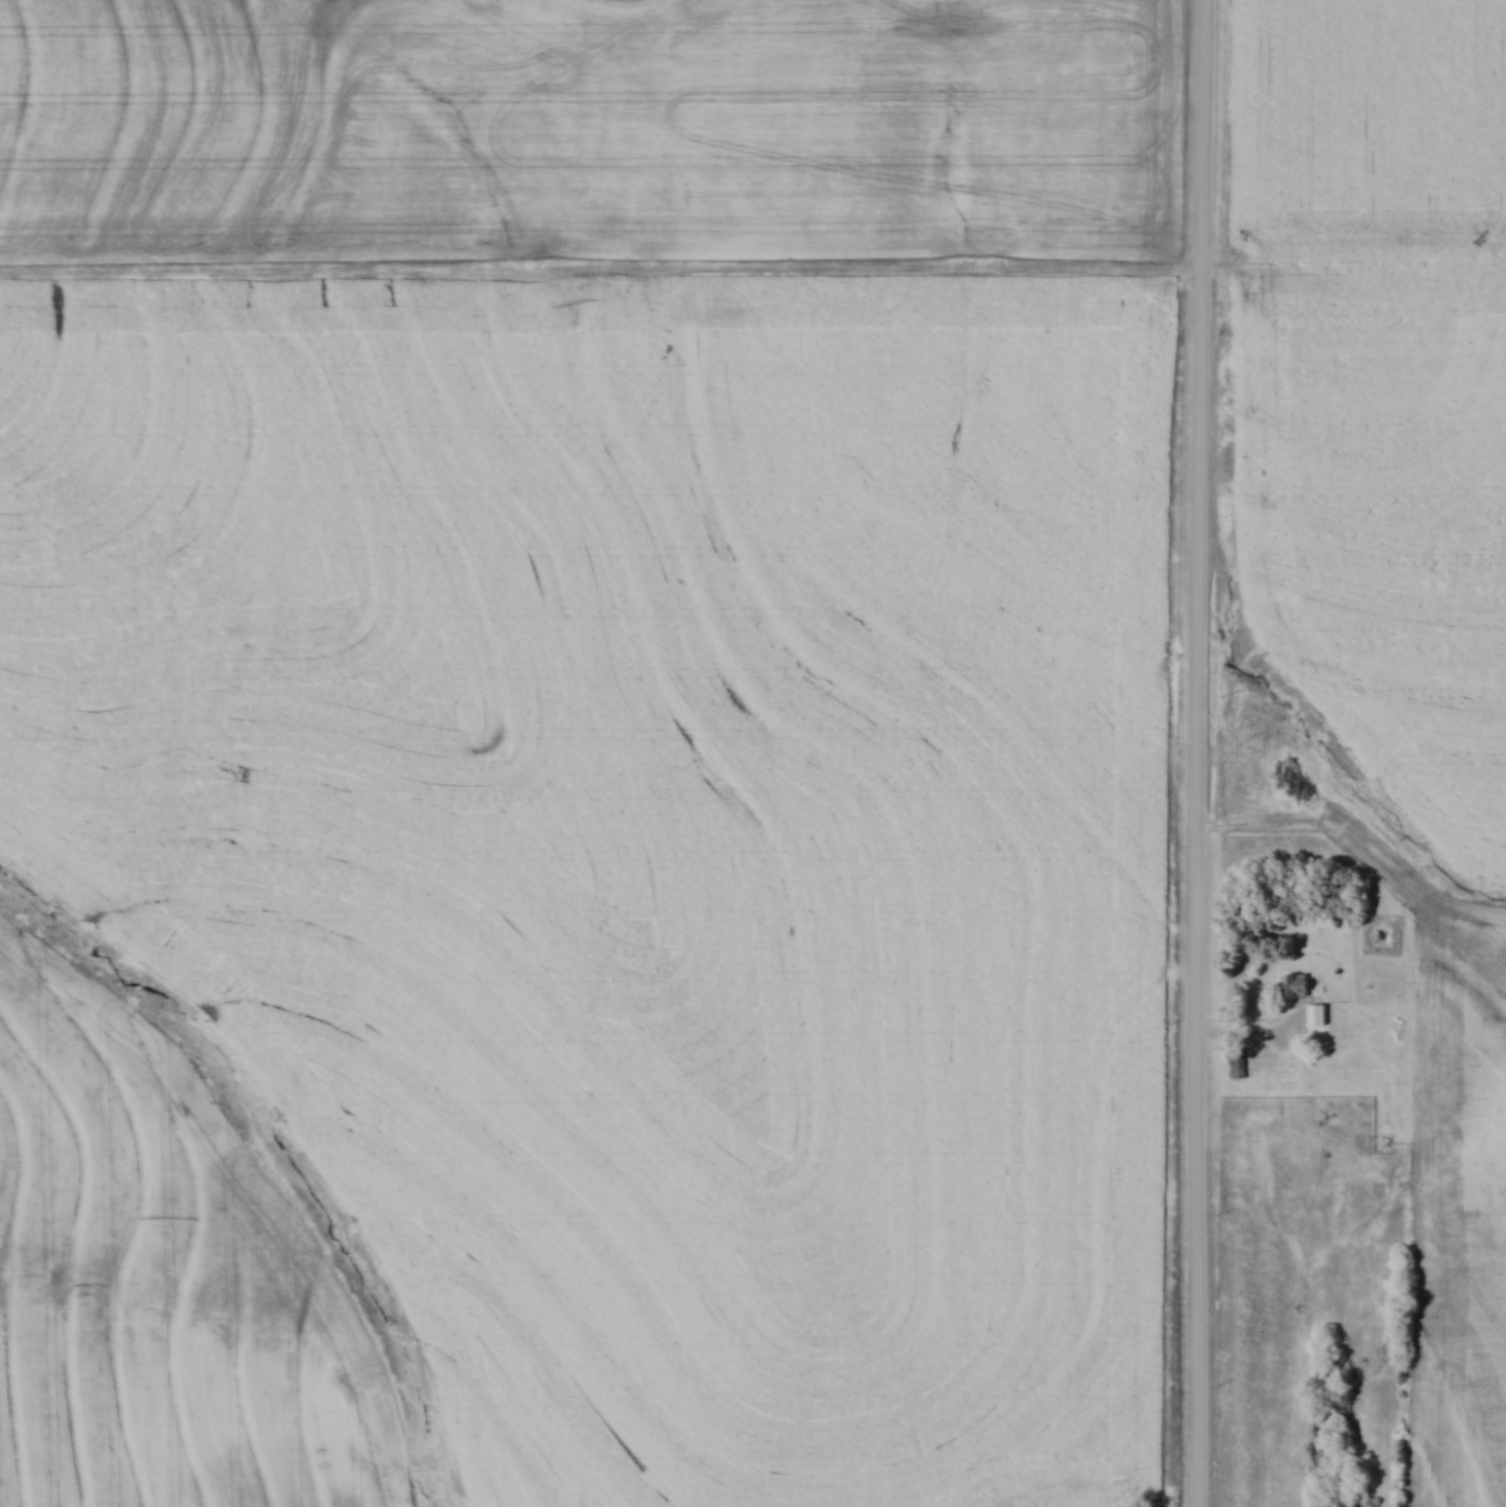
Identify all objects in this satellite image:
road: (1201, 753)
building: (1297, 985)
building: (1318, 1014)
road: (1265, 1040)

